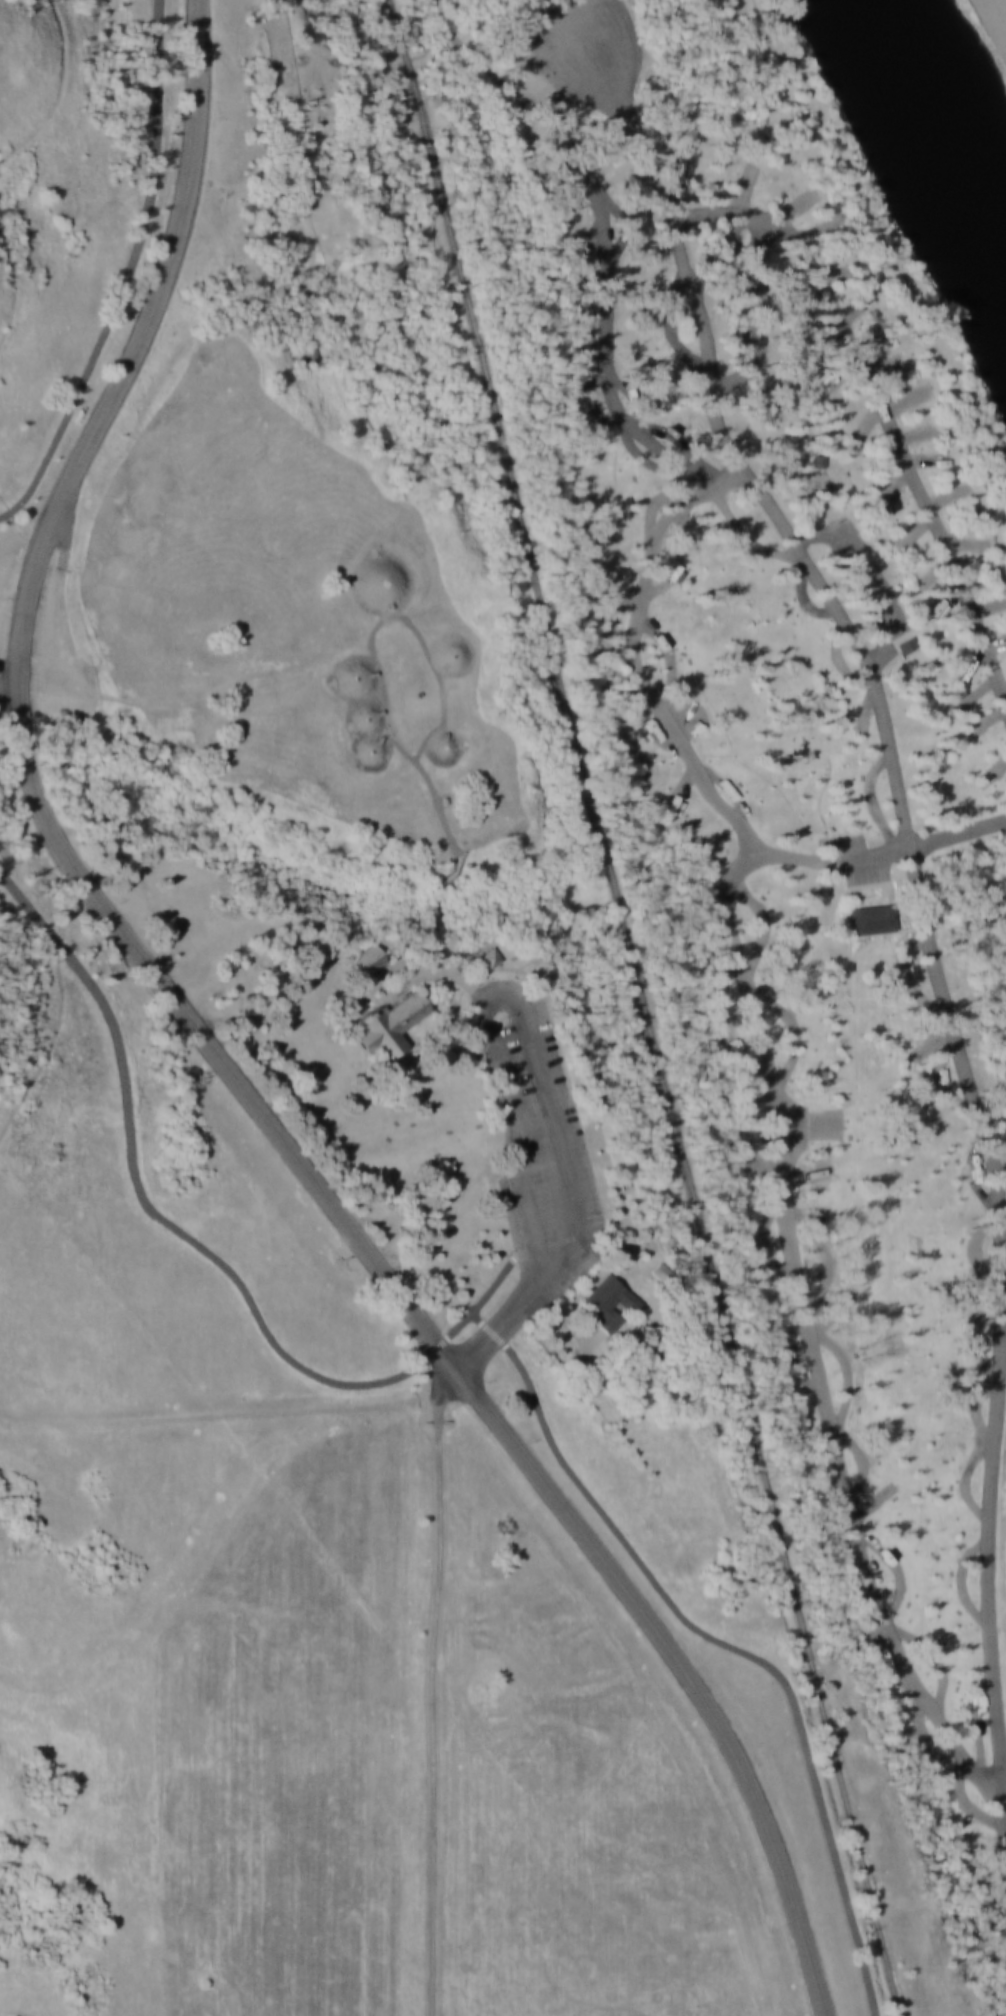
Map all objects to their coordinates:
river: (931, 133)
road: (487, 148)
road: (882, 235)
road: (685, 268)
road: (132, 275)
building: (380, 581)
road: (856, 641)
building: (905, 647)
building: (450, 655)
building: (352, 678)
road: (9, 698)
road: (138, 702)
building: (363, 719)
building: (444, 746)
building: (371, 752)
road: (883, 853)
building: (865, 919)
building: (486, 953)
building: (368, 957)
road: (472, 978)
railway: (646, 1008)
park: (498, 1017)
building: (388, 1025)
road: (216, 1054)
road: (557, 1226)
road: (172, 1228)
building: (656, 1272)
road: (501, 1289)
building: (604, 1301)
road: (995, 1315)
road: (813, 1337)
road: (221, 1411)
road: (728, 1647)
road: (431, 1708)

